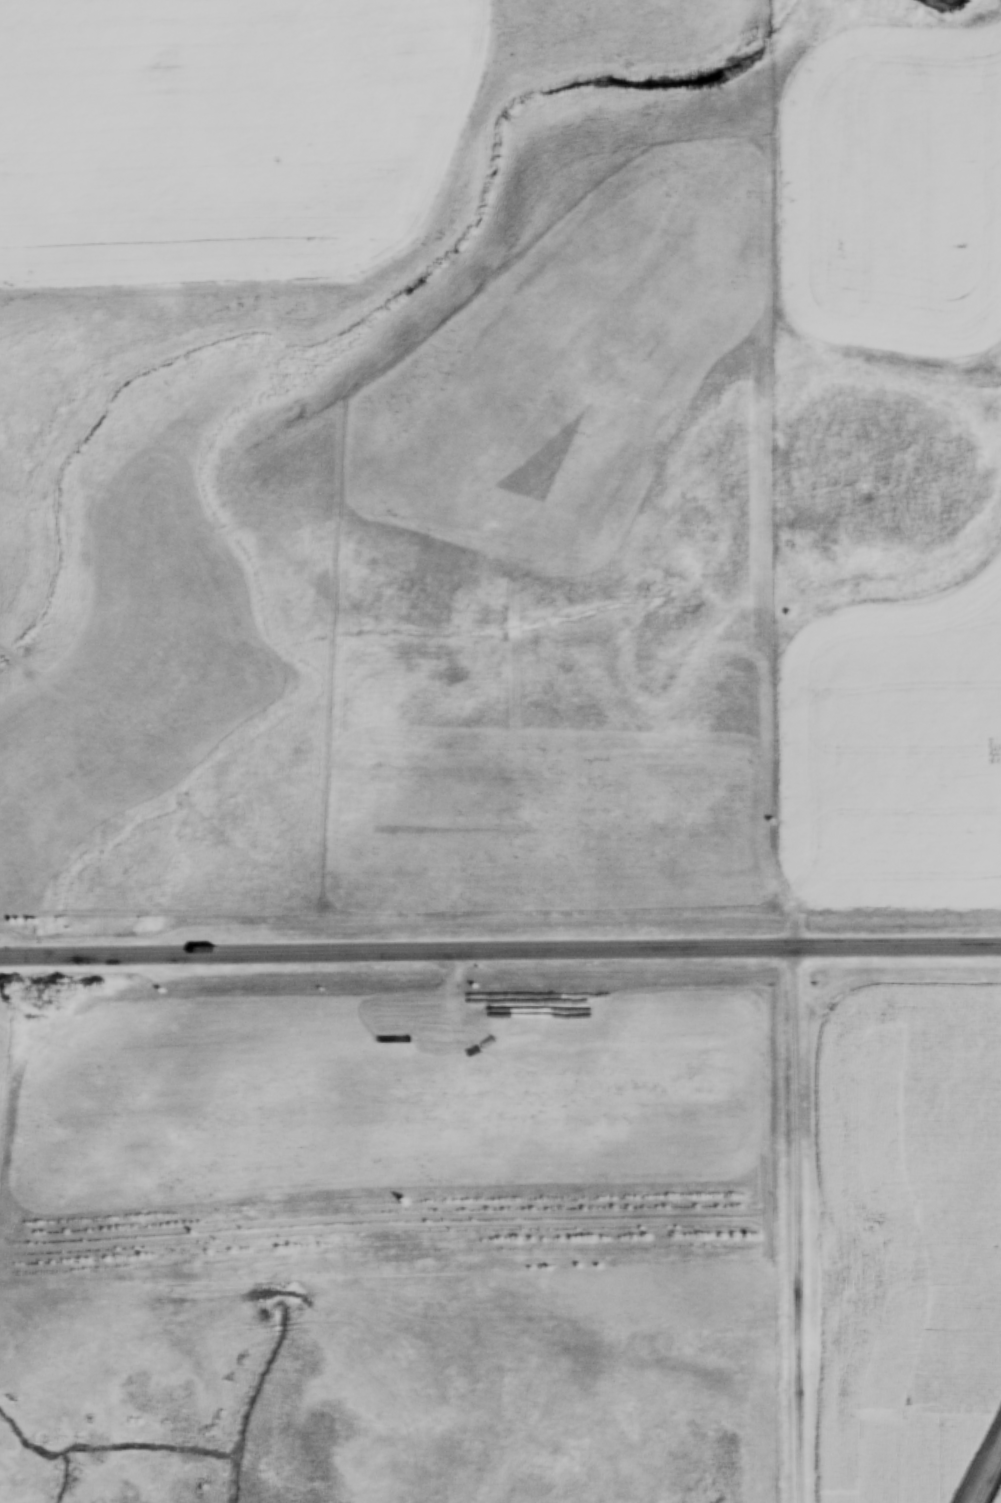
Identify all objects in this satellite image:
river: (682, 52)
road: (500, 947)

